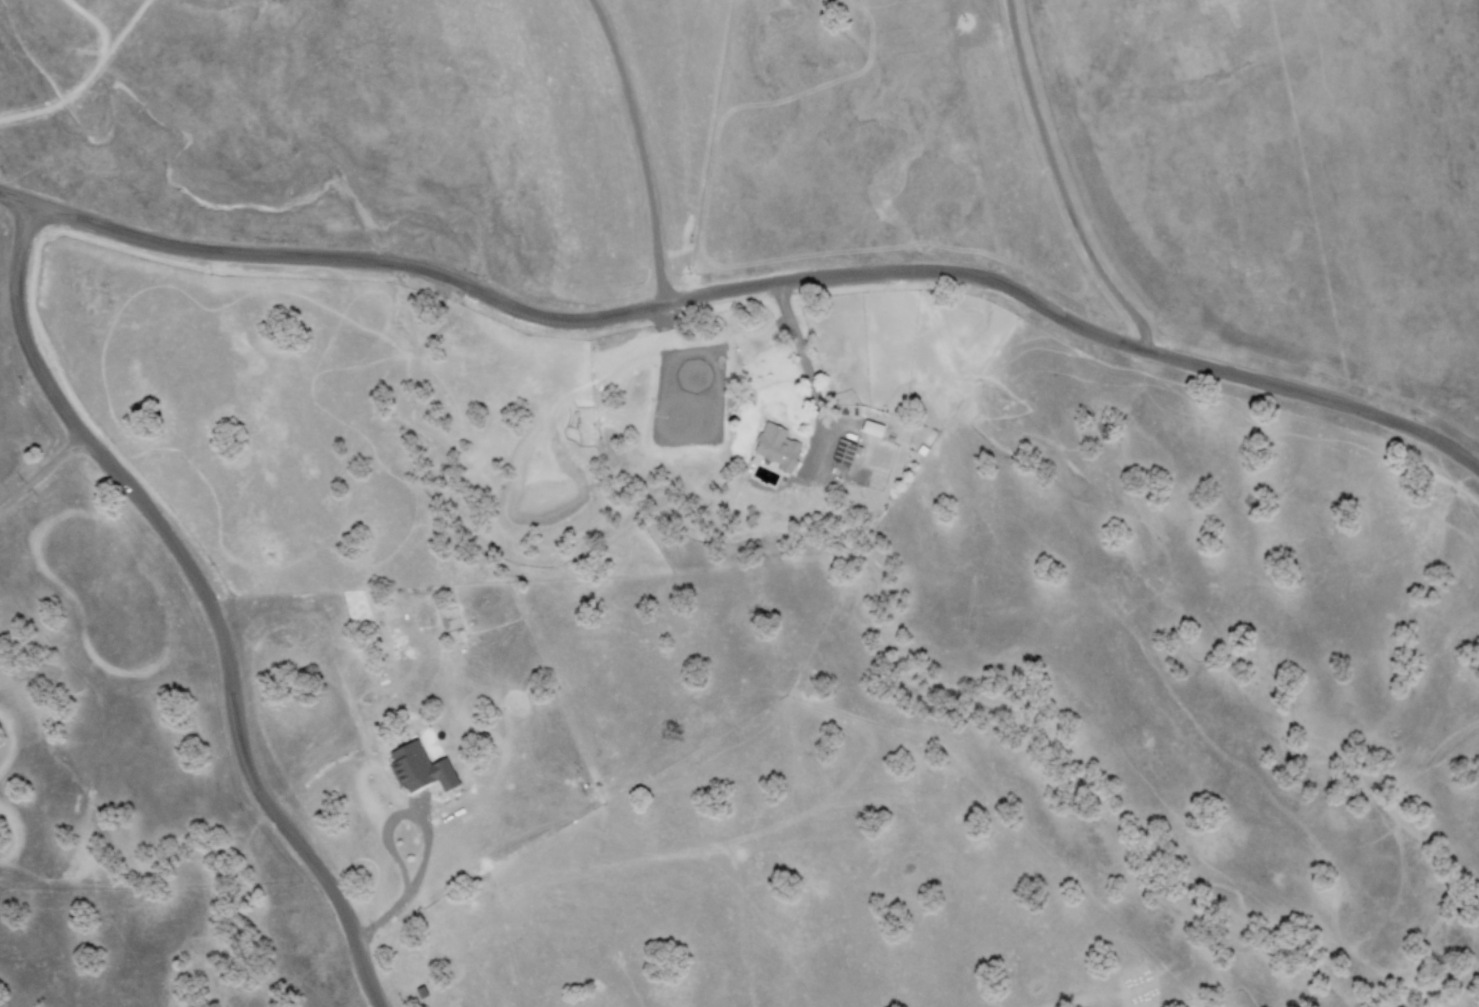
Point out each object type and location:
road: (638, 151)
road: (1055, 182)
road: (749, 290)
road: (802, 359)
building: (874, 429)
building: (777, 446)
road: (40, 467)
road: (203, 597)
building: (421, 769)
road: (416, 875)

